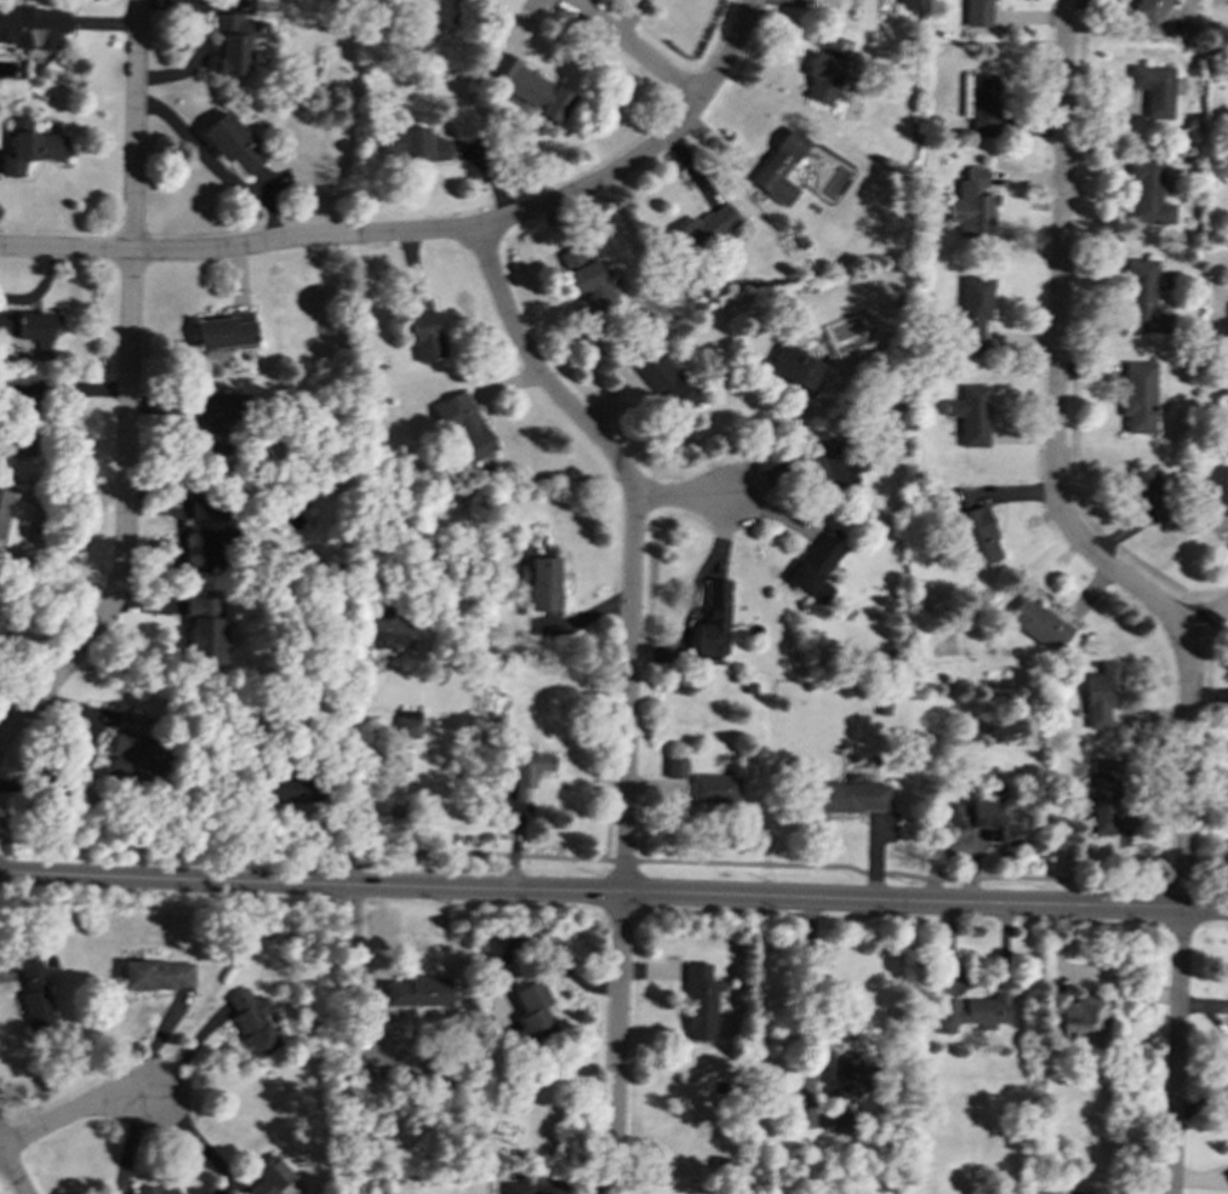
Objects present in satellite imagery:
building: (1149, 10)
building: (978, 12)
building: (438, 15)
building: (32, 27)
building: (236, 41)
road: (633, 48)
building: (822, 78)
building: (531, 87)
building: (1153, 88)
building: (979, 102)
building: (232, 142)
building: (411, 144)
building: (35, 150)
building: (778, 167)
road: (601, 182)
building: (1144, 193)
building: (972, 205)
building: (702, 229)
road: (250, 247)
road: (65, 250)
building: (584, 278)
building: (1141, 299)
building: (972, 310)
building: (30, 327)
building: (224, 331)
building: (424, 331)
road: (1055, 345)
building: (794, 367)
building: (666, 383)
road: (127, 389)
building: (1224, 389)
building: (1137, 396)
building: (215, 413)
building: (970, 415)
building: (463, 427)
building: (835, 463)
building: (1217, 489)
building: (1149, 493)
road: (682, 495)
building: (12, 520)
building: (210, 527)
building: (975, 536)
building: (813, 567)
building: (541, 583)
road: (1207, 618)
building: (713, 619)
building: (1039, 624)
building: (388, 630)
building: (202, 632)
road: (628, 689)
building: (1100, 695)
building: (406, 727)
building: (135, 758)
building: (674, 767)
building: (529, 772)
building: (713, 788)
building: (291, 789)
road: (356, 795)
building: (847, 796)
building: (1108, 802)
building: (993, 821)
road: (613, 859)
road: (613, 893)
road: (1181, 913)
building: (156, 975)
building: (416, 992)
building: (35, 996)
road: (812, 998)
building: (699, 1002)
building: (970, 1012)
building: (533, 1013)
building: (1081, 1015)
building: (252, 1021)
road: (189, 1055)
building: (846, 1076)
road: (78, 1112)
building: (840, 1121)
road: (11, 1170)
building: (274, 1178)
building: (520, 1188)
building: (153, 1190)

